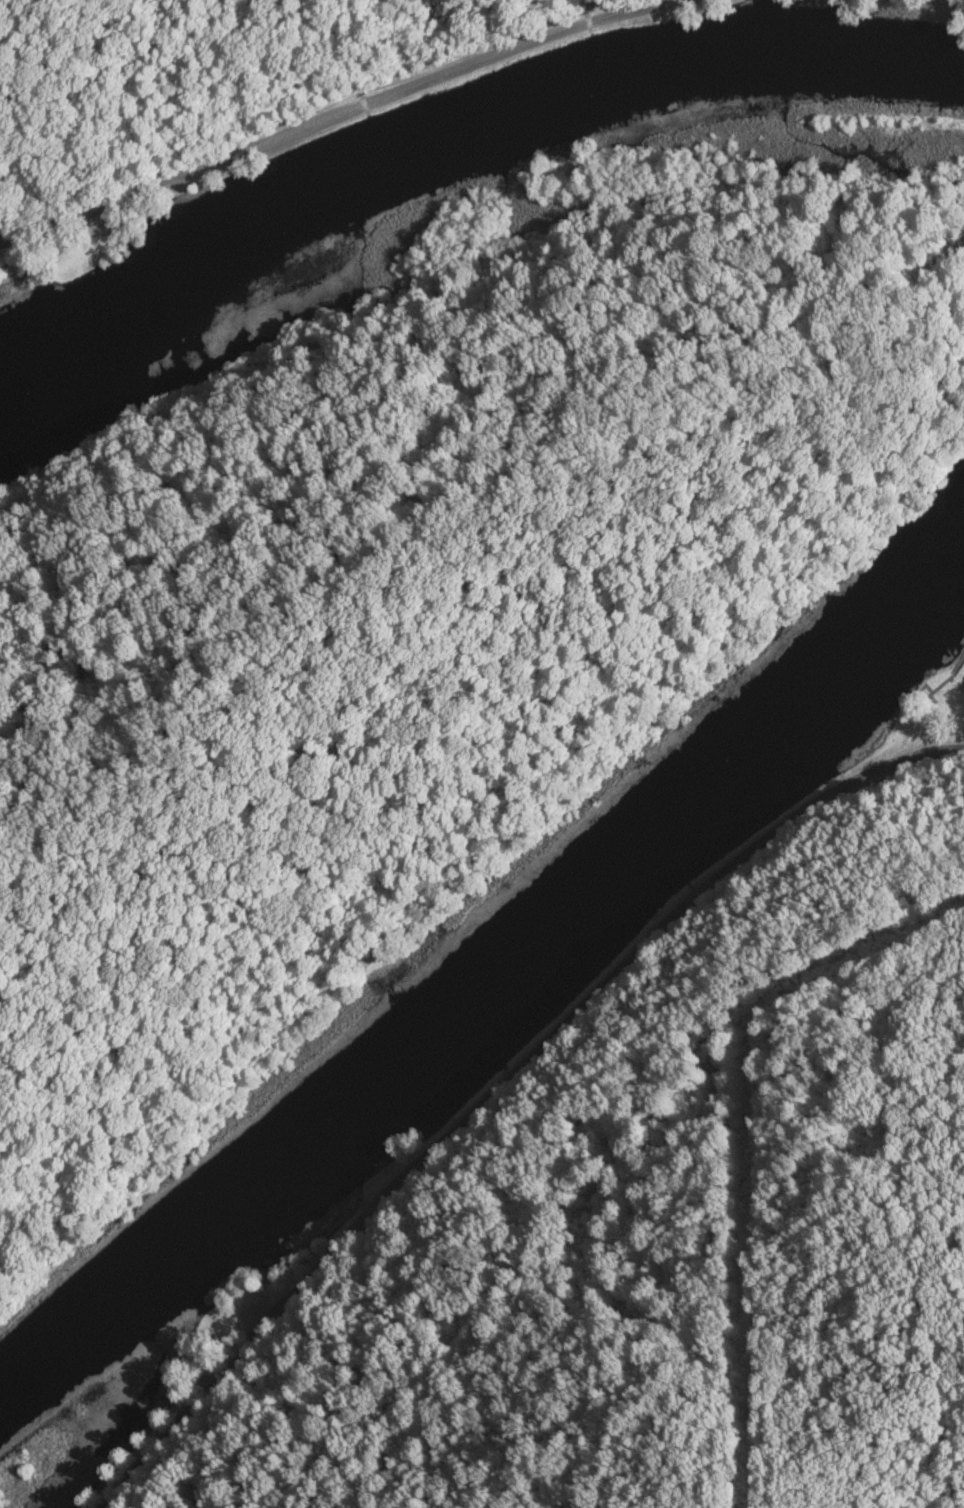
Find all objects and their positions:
road: (336, 110)
river: (452, 134)
river: (489, 970)
road: (495, 1083)

